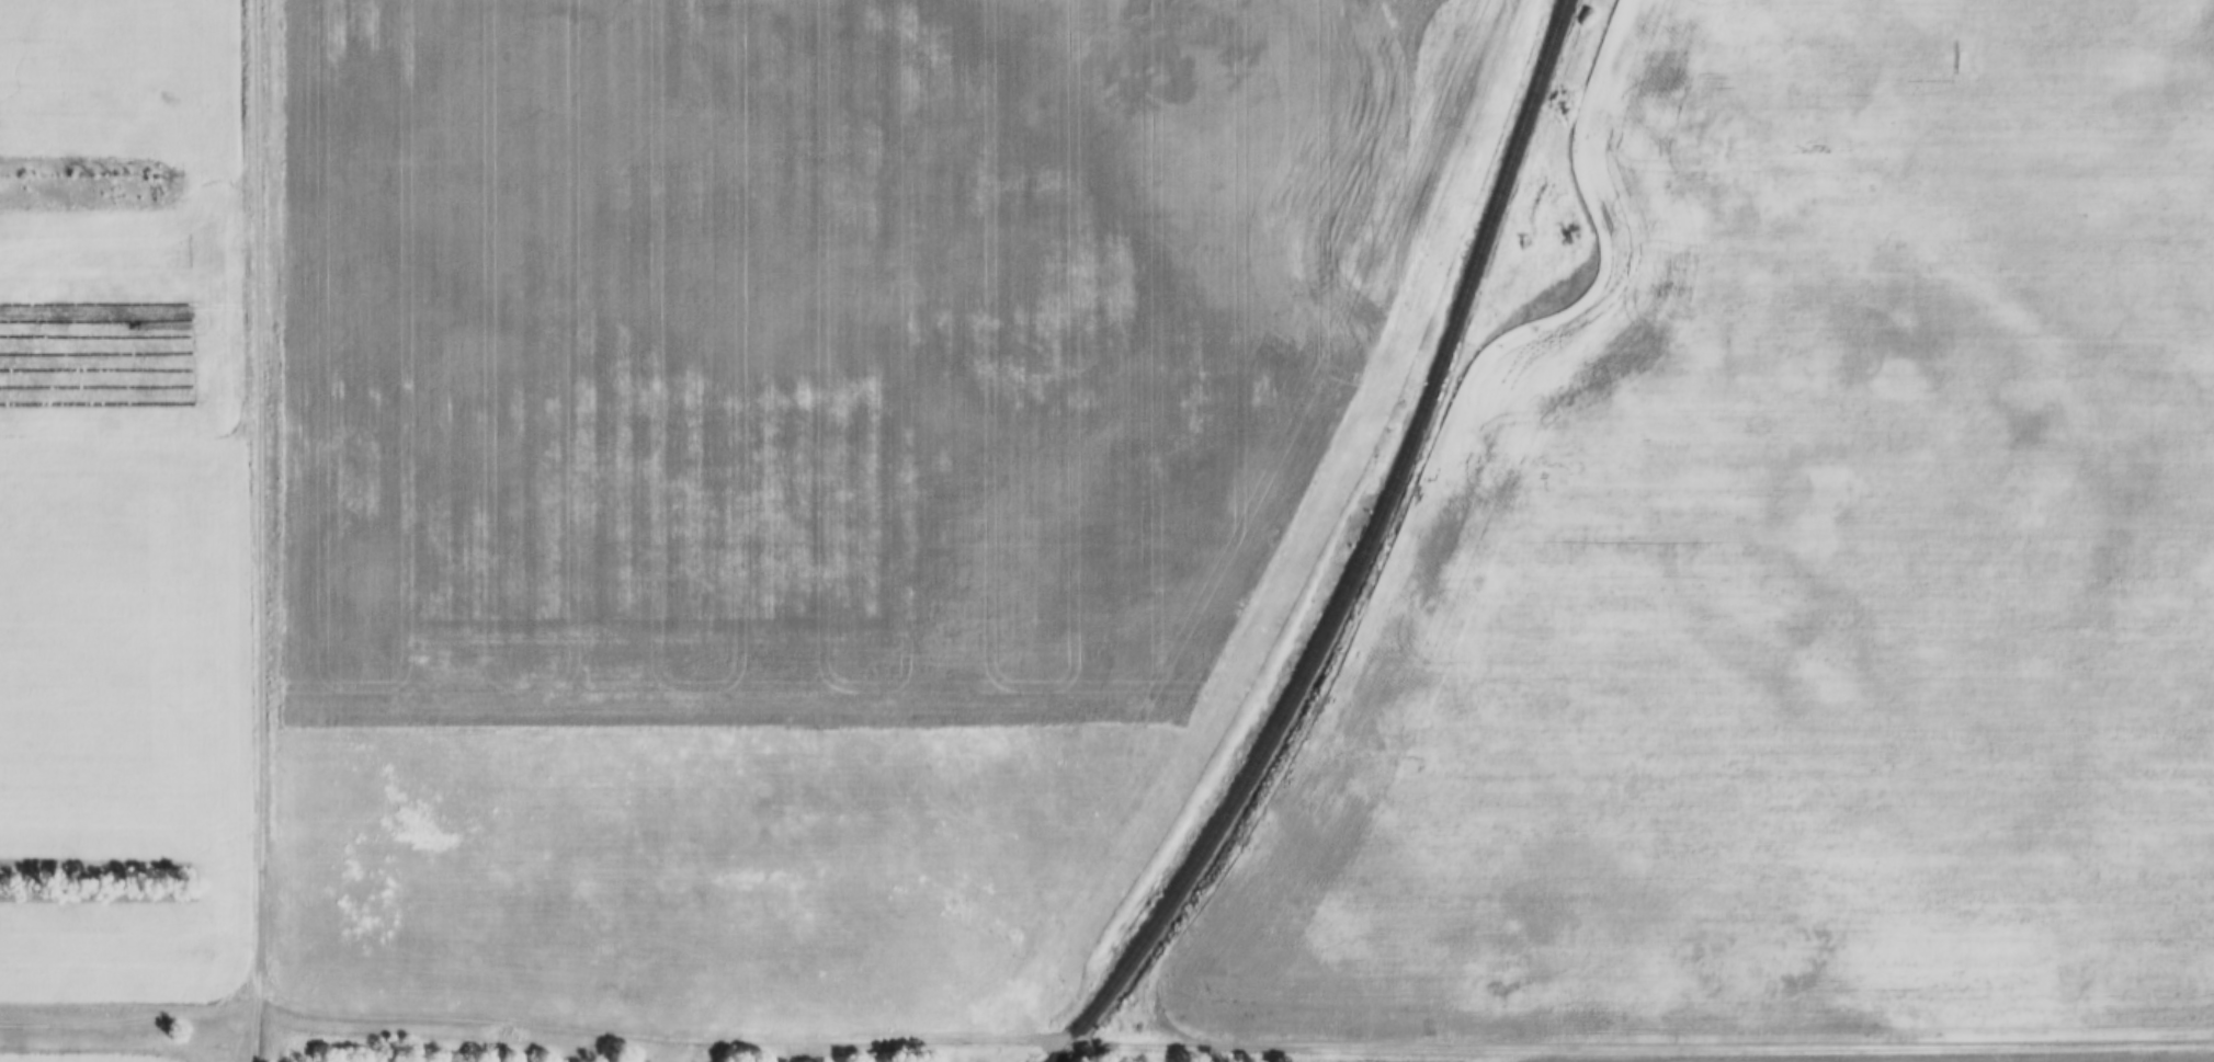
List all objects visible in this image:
road: (263, 530)
railway: (1361, 556)
road: (1106, 1043)

